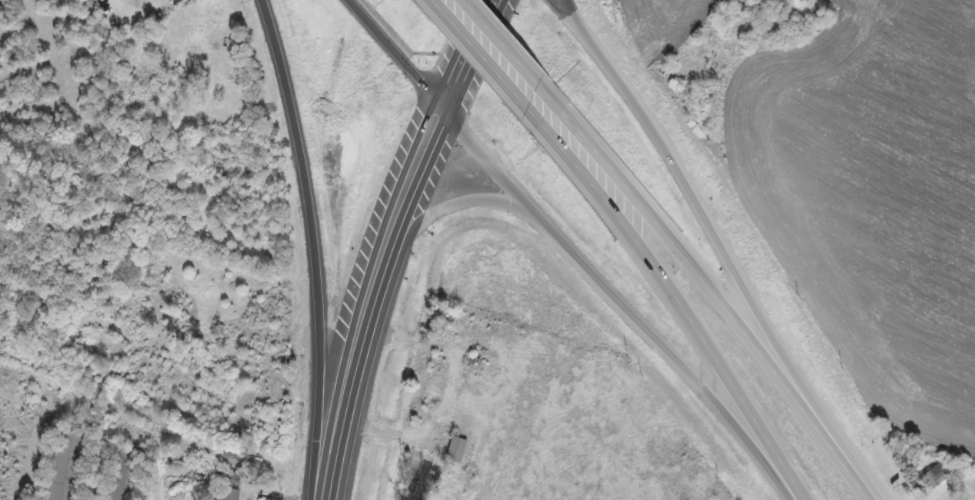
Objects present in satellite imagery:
road: (565, 6)
road: (502, 41)
road: (479, 54)
road: (438, 128)
road: (453, 205)
road: (699, 206)
road: (309, 223)
road: (571, 249)
road: (683, 252)
road: (675, 296)
road: (349, 378)
building: (457, 450)
building: (240, 461)
building: (68, 463)
road: (846, 464)
building: (128, 473)
building: (936, 476)
building: (232, 494)

